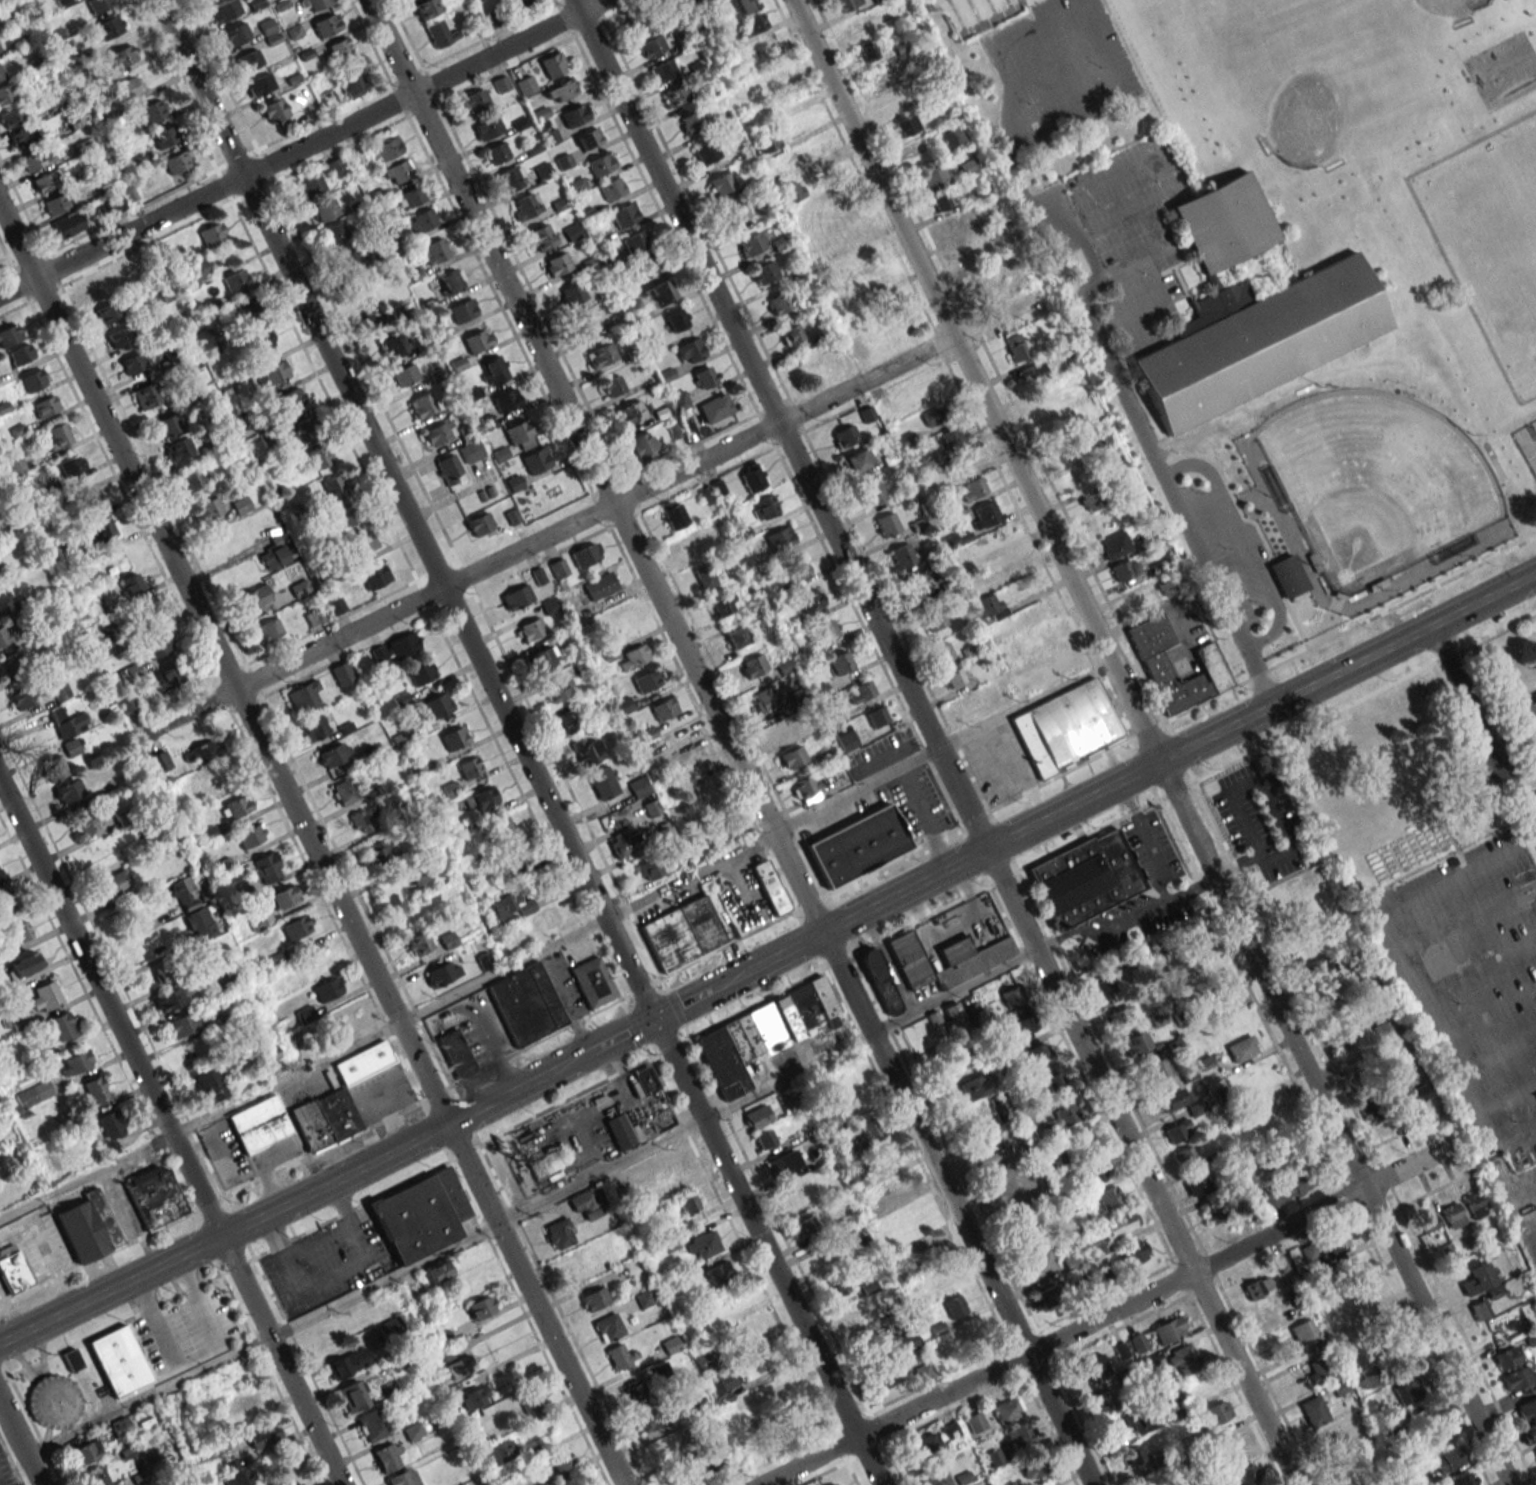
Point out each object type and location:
building: (516, 2)
building: (692, 2)
building: (312, 4)
building: (847, 4)
building: (98, 5)
building: (745, 5)
building: (427, 8)
building: (223, 11)
building: (638, 22)
building: (754, 23)
building: (325, 25)
building: (859, 26)
building: (109, 28)
building: (439, 33)
building: (235, 34)
building: (650, 46)
building: (339, 49)
building: (868, 51)
building: (122, 56)
building: (249, 60)
building: (553, 64)
building: (662, 70)
building: (880, 76)
building: (262, 83)
building: (352, 83)
building: (4, 88)
building: (560, 90)
building: (128, 91)
building: (740, 94)
building: (675, 96)
building: (473, 101)
building: (893, 101)
building: (152, 110)
building: (575, 114)
building: (12, 117)
building: (692, 122)
building: (907, 125)
building: (487, 128)
building: (951, 136)
building: (589, 137)
building: (161, 138)
building: (23, 139)
building: (767, 142)
road: (302, 147)
building: (388, 147)
building: (496, 152)
building: (706, 153)
building: (36, 158)
building: (176, 162)
building: (601, 164)
building: (335, 167)
building: (780, 168)
building: (397, 171)
building: (932, 174)
building: (511, 178)
building: (46, 181)
building: (721, 183)
building: (575, 185)
building: (310, 187)
building: (611, 188)
building: (791, 193)
building: (410, 197)
building: (941, 200)
building: (55, 204)
building: (523, 206)
building: (323, 209)
building: (738, 212)
road: (1071, 214)
building: (624, 215)
building: (803, 217)
building: (421, 221)
building: (67, 225)
building: (1224, 225)
building: (953, 226)
building: (333, 232)
building: (572, 232)
building: (212, 234)
building: (540, 238)
building: (637, 241)
building: (779, 242)
building: (751, 245)
building: (965, 250)
building: (434, 251)
building: (350, 259)
building: (557, 263)
building: (647, 266)
building: (198, 269)
building: (764, 273)
park: (1282, 275)
building: (235, 280)
building: (451, 281)
building: (97, 289)
building: (659, 293)
building: (572, 294)
building: (843, 295)
building: (779, 303)
building: (243, 310)
building: (462, 310)
building: (107, 312)
building: (377, 315)
building: (677, 319)
building: (586, 324)
building: (9, 334)
building: (790, 334)
building: (117, 337)
building: (261, 338)
building: (1255, 339)
building: (476, 340)
building: (393, 346)
building: (1016, 347)
building: (690, 350)
building: (20, 354)
building: (600, 355)
building: (134, 362)
building: (808, 362)
building: (494, 370)
building: (1032, 373)
building: (1075, 373)
building: (271, 374)
building: (404, 374)
building: (705, 376)
building: (33, 380)
building: (612, 385)
building: (146, 395)
building: (290, 398)
building: (506, 400)
building: (679, 400)
building: (421, 405)
building: (45, 406)
building: (715, 407)
building: (631, 412)
building: (1085, 412)
building: (935, 414)
road: (570, 415)
park: (1532, 421)
building: (167, 425)
building: (303, 428)
building: (438, 433)
building: (519, 435)
building: (845, 436)
building: (1099, 436)
building: (952, 439)
building: (643, 446)
building: (1074, 447)
building: (179, 449)
building: (471, 451)
building: (318, 457)
road: (380, 458)
building: (536, 460)
building: (857, 460)
building: (70, 465)
building: (15, 467)
building: (449, 470)
building: (752, 477)
park: (1376, 478)
building: (192, 479)
building: (334, 487)
building: (974, 488)
building: (873, 493)
building: (91, 499)
building: (1089, 499)
building: (764, 506)
building: (208, 508)
building: (673, 514)
building: (986, 514)
building: (346, 515)
building: (479, 524)
building: (887, 525)
building: (9, 526)
building: (98, 532)
road: (555, 532)
building: (780, 538)
road: (1245, 542)
building: (363, 543)
building: (1113, 545)
building: (587, 554)
building: (902, 555)
building: (273, 557)
building: (558, 567)
building: (795, 569)
building: (1126, 569)
building: (1286, 574)
building: (375, 577)
building: (705, 577)
building: (131, 584)
building: (600, 585)
building: (1168, 585)
building: (917, 586)
building: (299, 588)
building: (254, 597)
building: (516, 597)
building: (810, 599)
building: (723, 604)
building: (335, 605)
building: (100, 606)
building: (990, 606)
building: (933, 619)
building: (622, 624)
building: (530, 629)
building: (268, 630)
building: (827, 630)
building: (107, 631)
building: (4, 634)
building: (736, 637)
building: (1050, 638)
building: (157, 646)
building: (395, 648)
building: (942, 651)
building: (635, 656)
building: (543, 659)
building: (1153, 660)
building: (840, 662)
building: (753, 665)
building: (11, 667)
building: (130, 671)
building: (341, 673)
building: (420, 673)
building: (954, 677)
building: (167, 678)
building: (647, 681)
building: (559, 690)
building: (862, 690)
building: (59, 691)
building: (23, 696)
building: (304, 696)
building: (766, 698)
building: (130, 706)
building: (433, 707)
building: (664, 708)
building: (877, 716)
building: (570, 720)
building: (66, 721)
building: (1529, 726)
building: (313, 728)
building: (1066, 728)
road: (1485, 728)
building: (777, 733)
building: (454, 738)
building: (845, 738)
road: (935, 742)
road: (1150, 743)
road: (942, 746)
building: (71, 747)
building: (203, 751)
building: (587, 751)
building: (333, 754)
building: (791, 757)
building: (674, 758)
building: (159, 761)
building: (469, 766)
building: (52, 768)
building: (840, 776)
building: (697, 777)
road: (1126, 778)
building: (603, 782)
building: (638, 786)
building: (807, 788)
building: (68, 790)
building: (344, 791)
parking lot: (1534, 791)
road: (1528, 796)
building: (485, 797)
road: (917, 803)
building: (235, 807)
building: (652, 808)
building: (683, 810)
building: (364, 819)
building: (84, 823)
building: (731, 825)
building: (500, 830)
building: (662, 831)
building: (250, 836)
building: (623, 840)
building: (860, 843)
road: (312, 848)
building: (378, 848)
road: (943, 853)
building: (266, 868)
building: (649, 869)
building: (419, 872)
road: (689, 874)
building: (1, 877)
building: (1086, 878)
building: (115, 882)
building: (769, 887)
road: (1192, 889)
building: (284, 896)
building: (438, 901)
building: (5, 903)
road: (1161, 904)
building: (511, 905)
building: (199, 924)
building: (296, 927)
building: (20, 931)
building: (682, 933)
building: (419, 943)
building: (318, 959)
building: (945, 959)
building: (23, 965)
building: (1323, 965)
road: (629, 968)
road: (501, 969)
building: (234, 973)
building: (442, 973)
building: (1364, 973)
building: (881, 981)
parking lot: (1472, 981)
building: (592, 982)
building: (1103, 986)
building: (328, 988)
road: (954, 992)
building: (45, 996)
building: (1012, 996)
building: (171, 998)
road: (686, 1003)
building: (526, 1004)
building: (1374, 1008)
building: (306, 1016)
building: (1121, 1016)
building: (954, 1017)
traffic signals: (654, 1019)
building: (1026, 1021)
building: (183, 1024)
building: (62, 1026)
building: (761, 1033)
road: (623, 1034)
building: (1389, 1034)
building: (1137, 1043)
building: (1242, 1048)
building: (455, 1053)
building: (269, 1054)
building: (1038, 1054)
building: (77, 1061)
building: (1158, 1069)
building: (645, 1079)
building: (1055, 1082)
building: (209, 1084)
building: (975, 1086)
building: (94, 1091)
building: (1227, 1092)
building: (1421, 1092)
building: (33, 1094)
building: (1175, 1098)
building: (338, 1100)
building: (1396, 1103)
building: (1371, 1108)
building: (1001, 1110)
building: (1067, 1113)
building: (757, 1117)
road: (198, 1119)
building: (830, 1119)
building: (1031, 1119)
building: (259, 1124)
building: (619, 1131)
building: (867, 1131)
building: (1178, 1131)
building: (109, 1132)
road: (170, 1132)
building: (764, 1139)
building: (1185, 1156)
road: (932, 1158)
building: (667, 1159)
building: (782, 1163)
building: (1059, 1163)
building: (1095, 1171)
building: (678, 1180)
building: (1198, 1185)
building: (1287, 1188)
parking lot: (1523, 1196)
building: (155, 1197)
building: (1111, 1197)
road: (297, 1198)
building: (794, 1198)
building: (588, 1202)
building: (689, 1204)
building: (1015, 1204)
building: (1477, 1207)
building: (1216, 1213)
building: (420, 1215)
building: (1452, 1215)
building: (909, 1218)
road: (124, 1219)
building: (1428, 1223)
building: (844, 1224)
building: (88, 1227)
building: (810, 1229)
building: (1114, 1232)
building: (559, 1233)
building: (1060, 1233)
building: (1336, 1237)
building: (886, 1242)
building: (861, 1244)
building: (703, 1245)
road: (451, 1246)
building: (925, 1250)
building: (1308, 1250)
road: (767, 1252)
building: (1134, 1253)
building: (1071, 1260)
building: (1037, 1266)
building: (13, 1269)
building: (438, 1271)
building: (718, 1272)
building: (937, 1276)
building: (1476, 1279)
building: (838, 1284)
building: (1257, 1286)
building: (1046, 1297)
building: (595, 1298)
building: (1336, 1305)
building: (954, 1306)
building: (481, 1307)
building: (1479, 1309)
road: (1108, 1313)
building: (608, 1327)
building: (390, 1328)
building: (1169, 1329)
building: (1301, 1330)
building: (973, 1335)
building: (903, 1341)
building: (1138, 1342)
building: (671, 1344)
building: (618, 1356)
building: (1506, 1357)
building: (71, 1360)
building: (118, 1360)
building: (1152, 1360)
building: (1181, 1360)
building: (347, 1363)
building: (459, 1366)
building: (1093, 1367)
building: (1318, 1370)
building: (924, 1371)
building: (883, 1376)
building: (1518, 1377)
building: (724, 1385)
building: (1408, 1391)
building: (632, 1392)
building: (353, 1396)
building: (474, 1397)
building: (54, 1400)
building: (1101, 1401)
building: (532, 1403)
building: (1527, 1409)
building: (1007, 1410)
building: (1314, 1411)
building: (1218, 1412)
building: (1140, 1418)
building: (737, 1419)
building: (649, 1421)
building: (976, 1422)
building: (373, 1424)
building: (118, 1427)
building: (950, 1430)
building: (412, 1431)
building: (1528, 1433)
building: (1019, 1435)
building: (263, 1436)
road: (22, 1439)
building: (1232, 1442)
building: (924, 1445)
building: (1329, 1446)
building: (1371, 1448)
building: (87, 1452)
building: (500, 1453)
building: (1535, 1453)
building: (1133, 1455)
building: (387, 1456)
building: (705, 1459)
building: (560, 1460)
building: (1445, 1460)
building: (1032, 1468)
building: (235, 1472)
building: (1246, 1474)
building: (936, 1475)
building: (96, 1476)
building: (403, 1478)
building: (1461, 1479)
building: (298, 1484)
building: (834, 1484)

